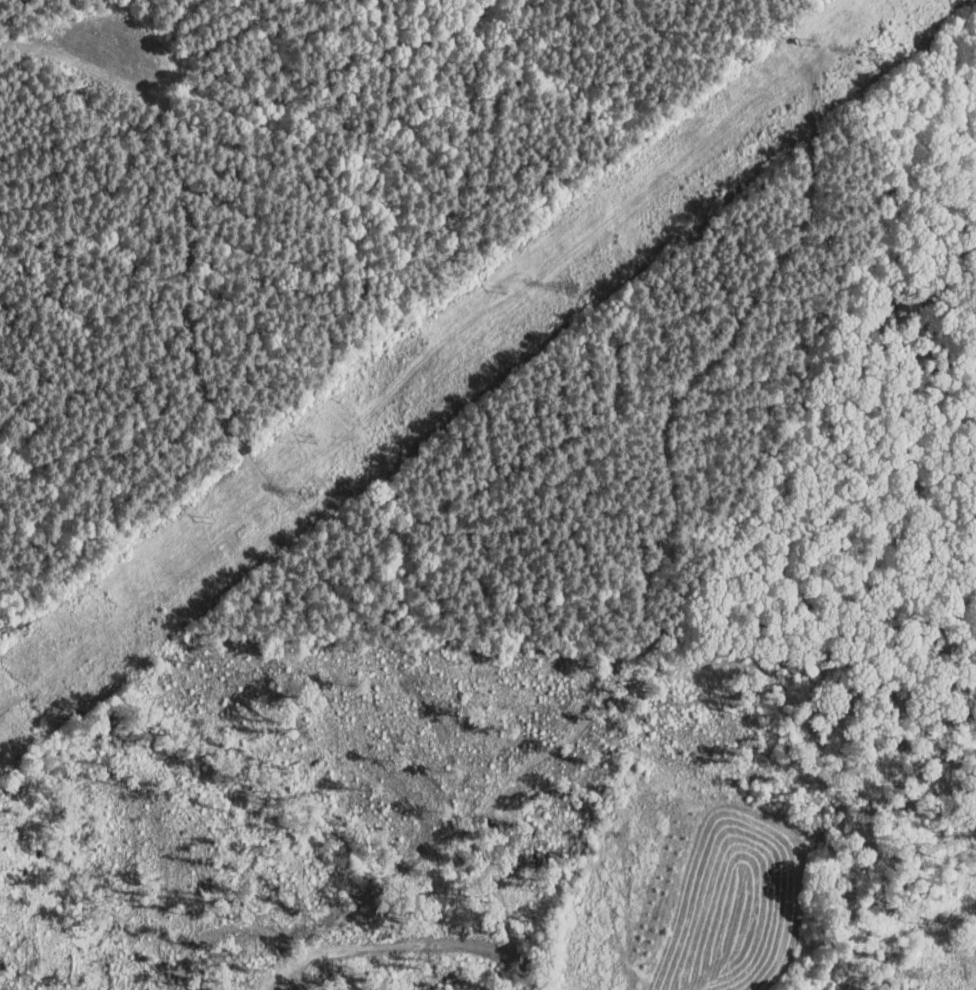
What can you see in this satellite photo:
power tower: (871, 54)
power tower: (569, 289)
power tower: (310, 493)

